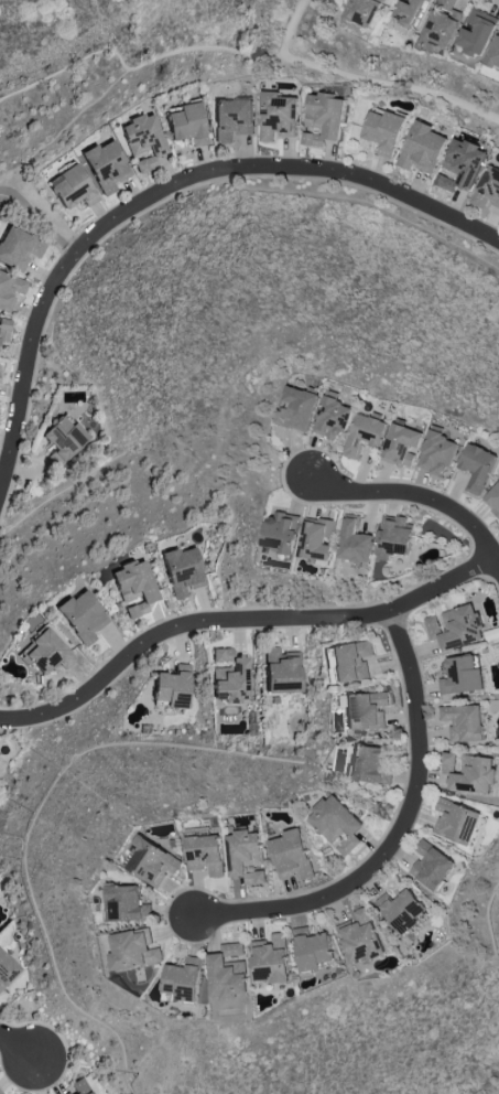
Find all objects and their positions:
road: (495, 1)
building: (365, 11)
building: (412, 12)
building: (443, 22)
road: (107, 30)
building: (477, 31)
building: (495, 53)
road: (159, 56)
road: (390, 85)
building: (276, 116)
building: (322, 117)
building: (231, 120)
building: (187, 125)
road: (66, 126)
building: (383, 130)
building: (143, 136)
building: (421, 148)
building: (460, 164)
building: (144, 165)
building: (106, 167)
road: (288, 176)
building: (72, 187)
building: (487, 187)
road: (164, 189)
road: (32, 210)
road: (67, 245)
building: (18, 248)
road: (80, 254)
building: (10, 290)
building: (3, 330)
road: (32, 383)
building: (296, 408)
building: (332, 417)
building: (364, 433)
building: (63, 440)
building: (401, 444)
building: (436, 452)
building: (476, 465)
building: (492, 498)
road: (420, 501)
road: (359, 502)
building: (281, 532)
building: (393, 537)
building: (317, 538)
building: (355, 539)
road: (474, 554)
building: (182, 571)
road: (492, 583)
building: (134, 587)
road: (192, 612)
building: (82, 616)
road: (237, 618)
road: (389, 620)
building: (454, 626)
building: (46, 653)
building: (350, 661)
building: (281, 671)
building: (460, 675)
building: (229, 677)
building: (172, 687)
building: (365, 710)
building: (463, 721)
building: (369, 764)
building: (468, 772)
building: (455, 820)
building: (337, 823)
road: (400, 830)
road: (369, 849)
building: (204, 852)
building: (293, 854)
building: (245, 856)
building: (150, 861)
building: (430, 865)
building: (124, 903)
building: (400, 910)
road: (181, 918)
building: (359, 936)
building: (132, 948)
building: (312, 951)
building: (269, 958)
building: (7, 969)
building: (226, 972)
building: (182, 978)
road: (20, 1045)
building: (78, 1087)
building: (0, 1093)

